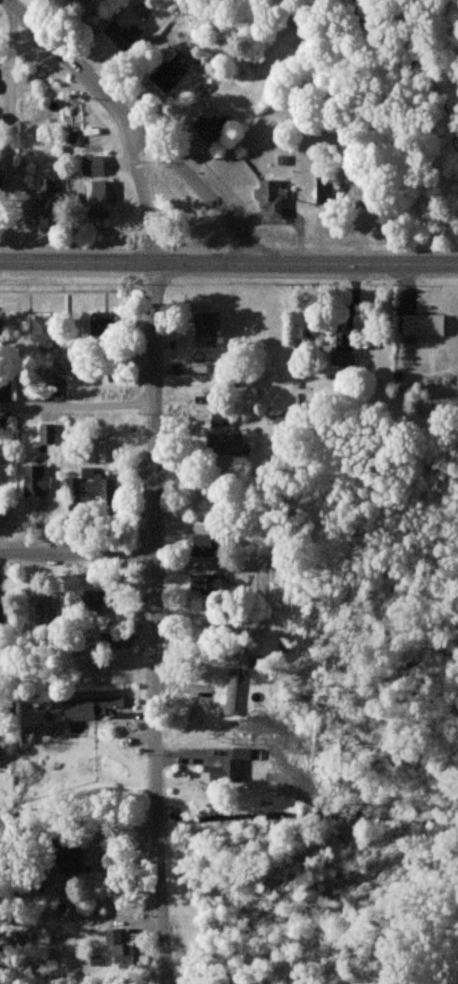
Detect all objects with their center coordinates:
building: (78, 0)
building: (126, 37)
building: (171, 77)
building: (1, 118)
road: (142, 126)
building: (211, 127)
road: (10, 133)
building: (95, 165)
building: (2, 186)
building: (326, 190)
building: (273, 198)
building: (52, 199)
building: (104, 199)
road: (228, 264)
building: (210, 325)
building: (425, 325)
building: (307, 326)
building: (101, 328)
building: (2, 329)
building: (49, 332)
building: (342, 358)
building: (5, 393)
road: (78, 406)
building: (221, 418)
building: (48, 434)
building: (227, 445)
building: (38, 481)
building: (100, 485)
building: (73, 486)
building: (205, 499)
building: (3, 512)
road: (156, 544)
building: (202, 546)
road: (78, 555)
building: (208, 583)
building: (101, 599)
building: (48, 606)
building: (231, 692)
building: (90, 706)
building: (231, 766)
building: (70, 855)
building: (121, 949)

